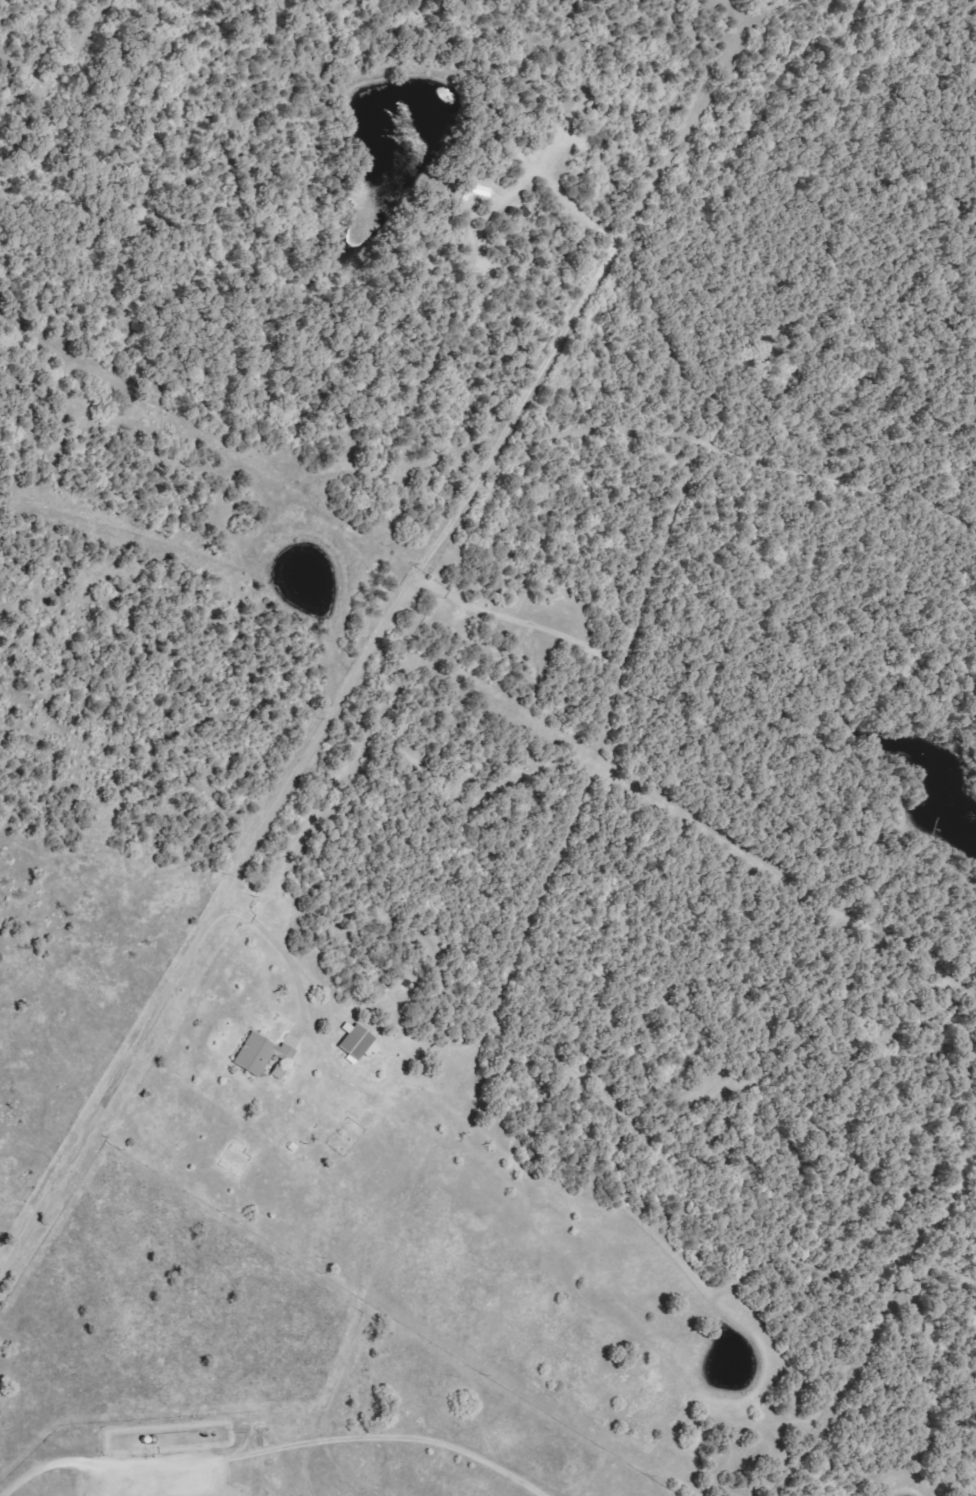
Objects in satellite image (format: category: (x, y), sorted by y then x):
road: (232, 720)
building: (361, 1040)

